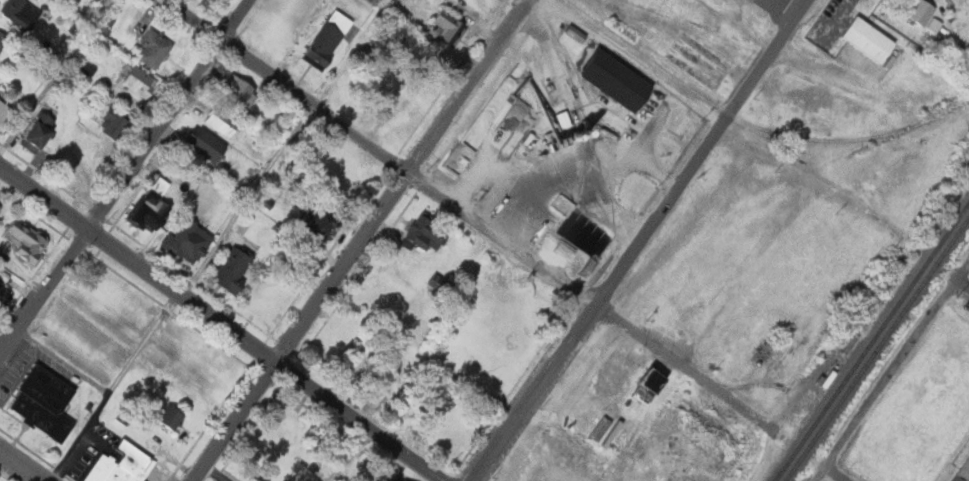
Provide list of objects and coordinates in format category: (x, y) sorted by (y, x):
building: (369, 1)
building: (917, 12)
building: (21, 13)
building: (932, 24)
railway: (550, 25)
building: (444, 28)
building: (570, 31)
building: (323, 37)
building: (863, 39)
building: (2, 40)
building: (153, 47)
road: (635, 57)
building: (608, 79)
building: (139, 81)
building: (237, 91)
building: (222, 121)
building: (111, 123)
railway: (754, 124)
building: (38, 133)
railway: (875, 142)
building: (208, 147)
road: (124, 177)
building: (496, 199)
building: (261, 202)
building: (0, 208)
building: (149, 211)
road: (466, 215)
building: (316, 227)
building: (420, 234)
road: (358, 240)
road: (640, 240)
building: (25, 242)
building: (188, 243)
building: (233, 269)
road: (966, 280)
building: (434, 282)
building: (4, 296)
road: (224, 322)
railway: (871, 340)
railway: (876, 349)
road: (897, 369)
building: (43, 402)
building: (171, 416)
building: (122, 465)
road: (20, 467)
building: (961, 471)
road: (819, 474)
road: (835, 474)
building: (394, 479)
building: (407, 479)

